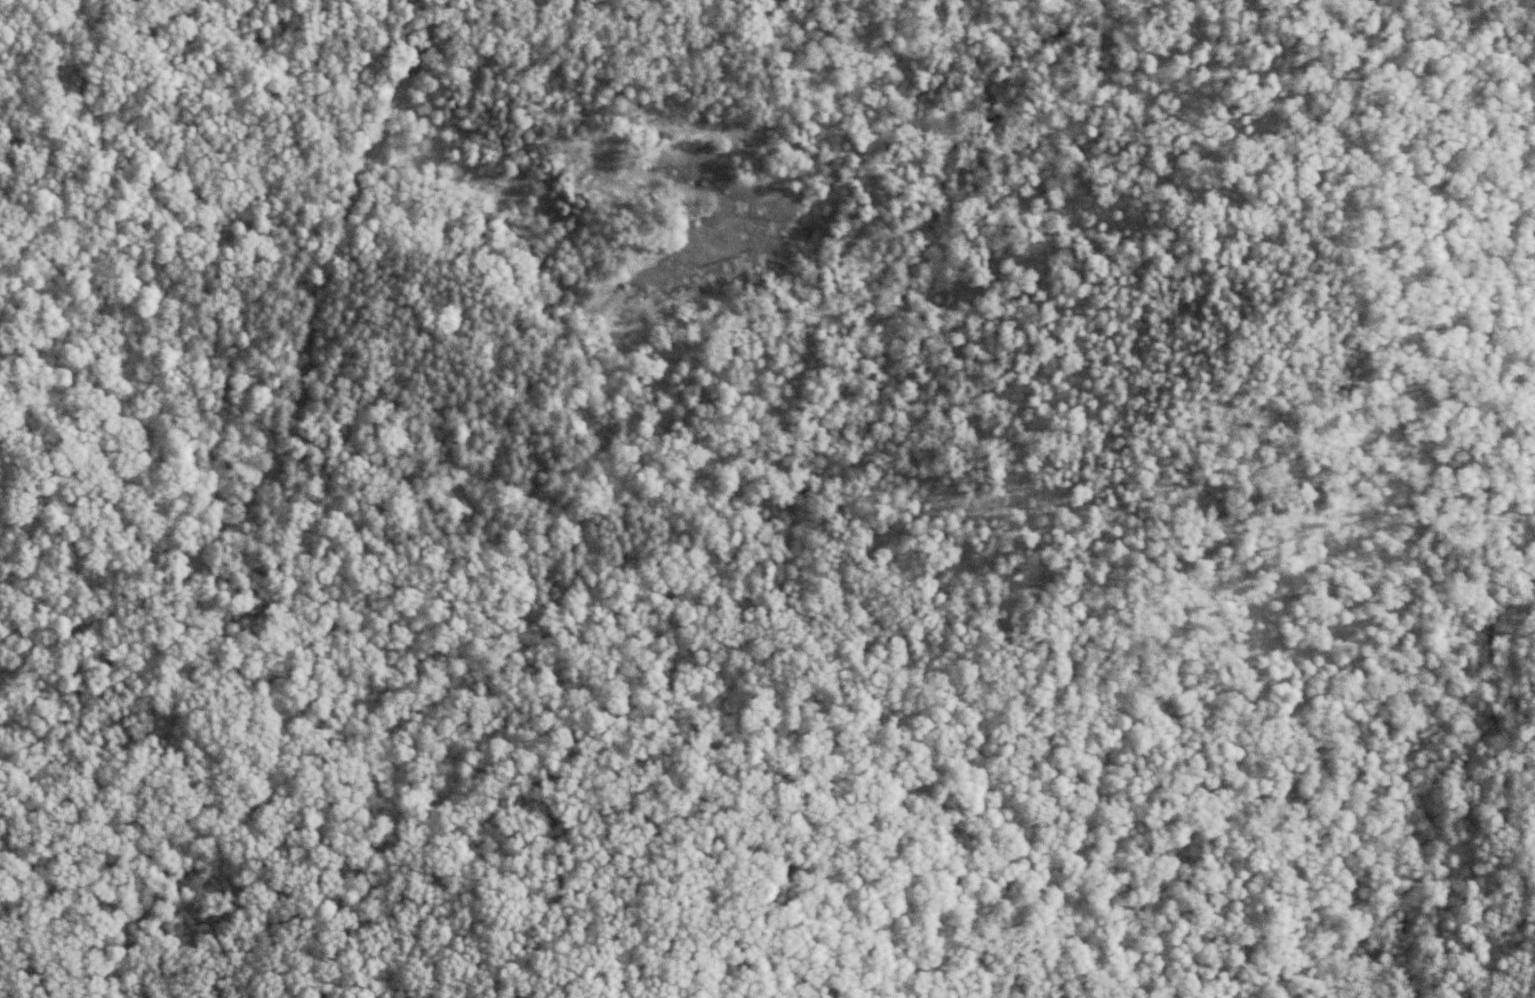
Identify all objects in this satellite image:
road: (311, 404)

